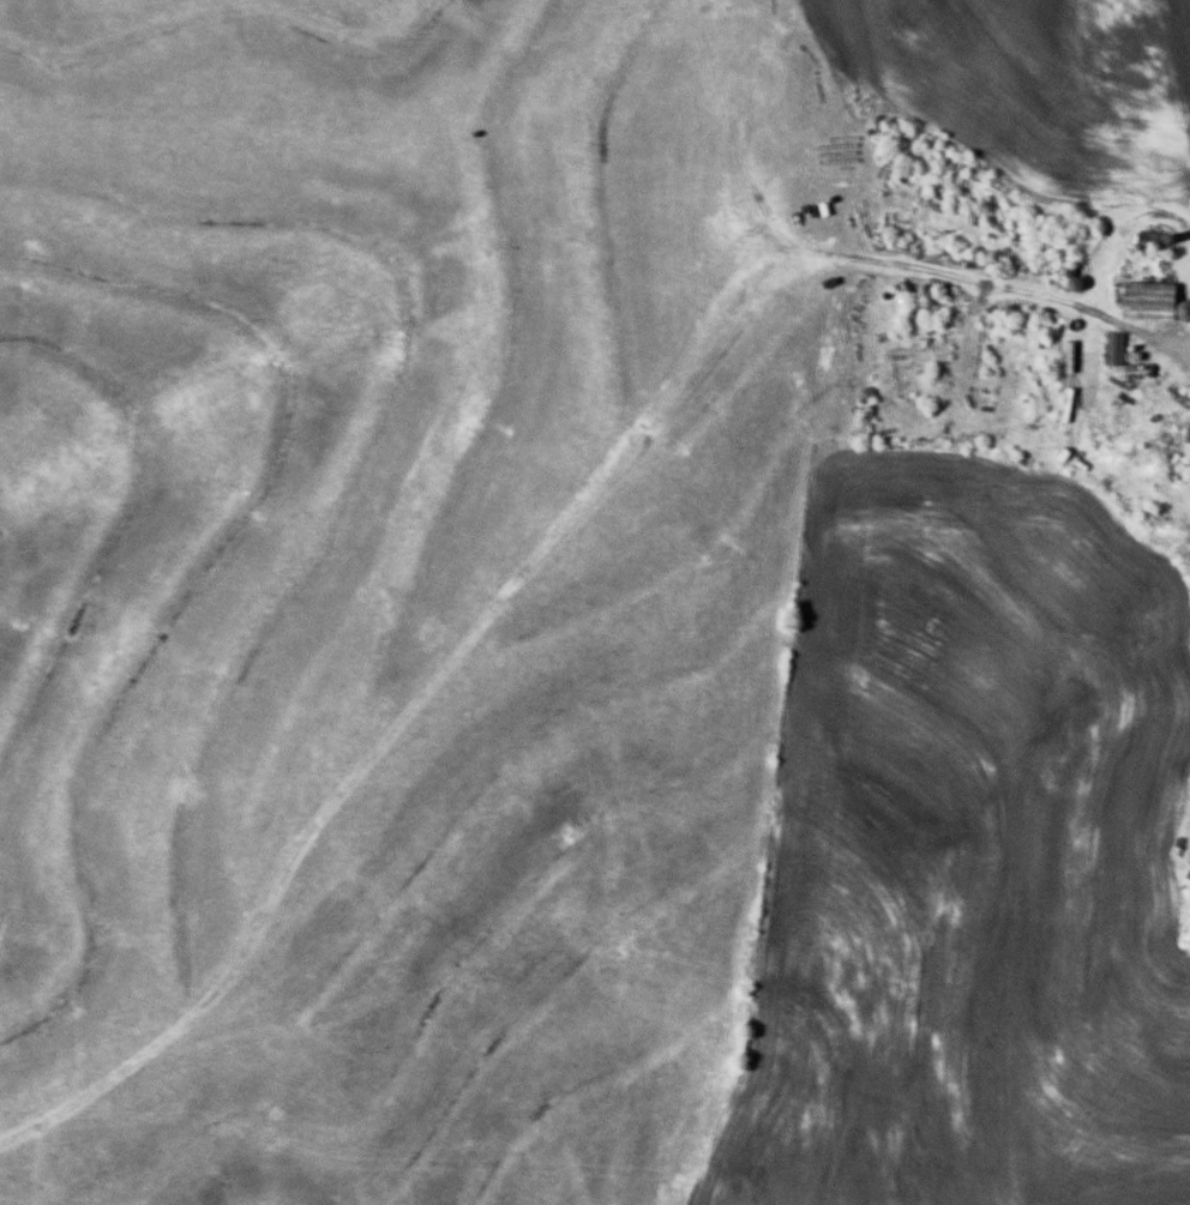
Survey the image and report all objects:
building: (1155, 300)
building: (1117, 348)

